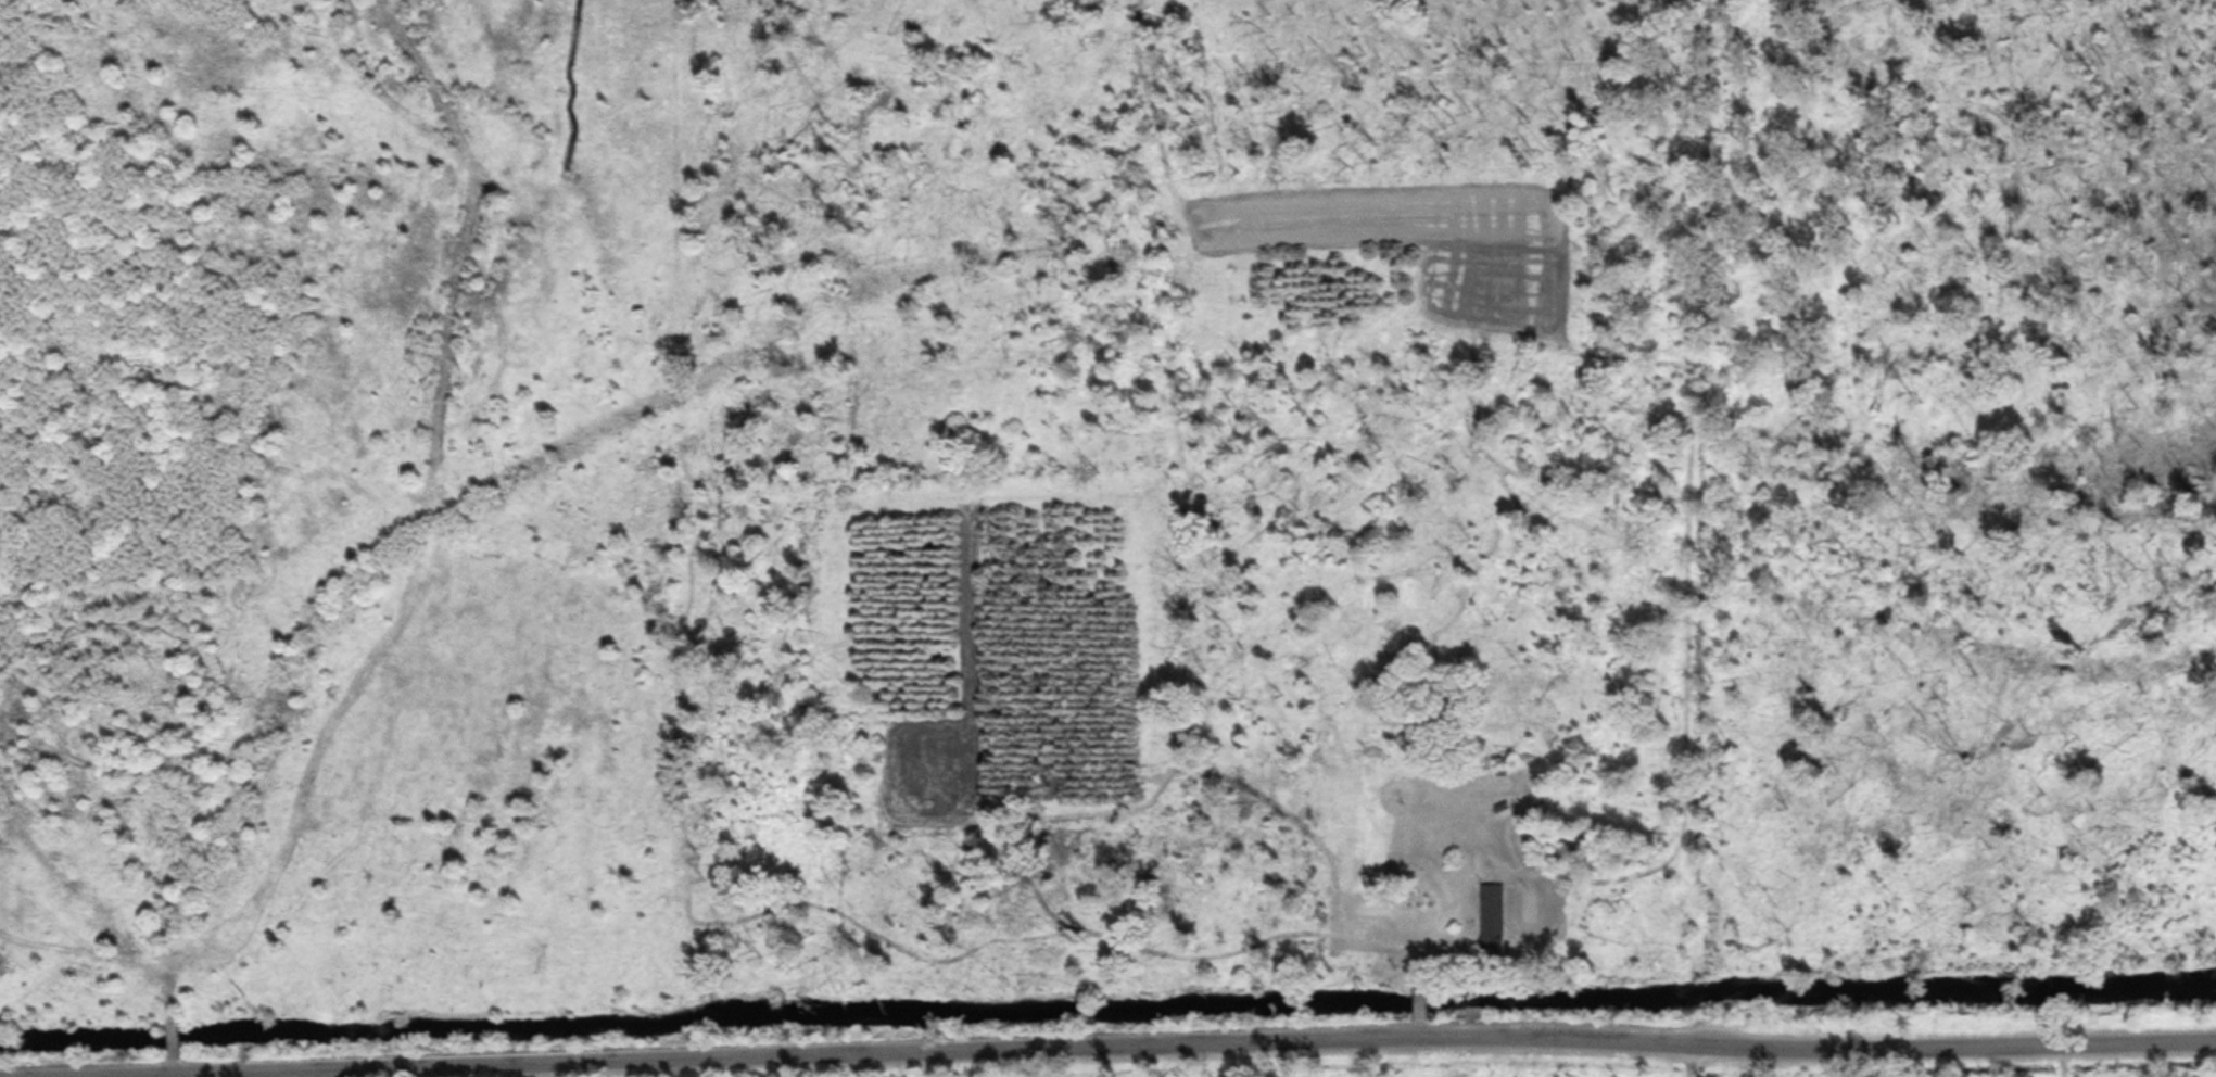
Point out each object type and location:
building: (1490, 913)
road: (1419, 961)
road: (1420, 1005)
river: (1107, 1015)
road: (1419, 1026)
road: (1152, 1043)

